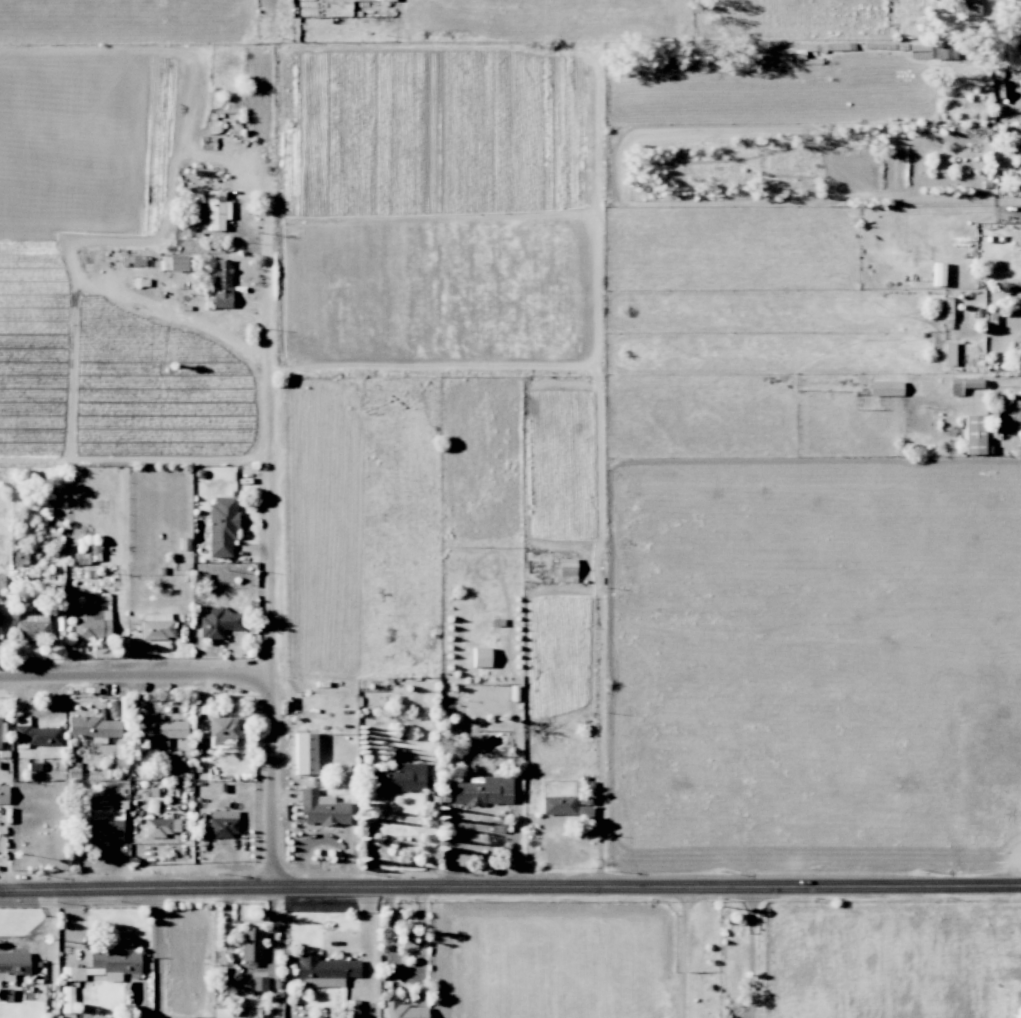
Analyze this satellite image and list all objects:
building: (966, 7)
road: (993, 44)
building: (1020, 70)
building: (214, 208)
building: (177, 263)
building: (937, 274)
building: (221, 284)
building: (962, 385)
building: (884, 388)
building: (1019, 415)
building: (973, 434)
building: (222, 525)
road: (267, 552)
building: (566, 569)
building: (1, 582)
building: (218, 623)
building: (91, 624)
building: (156, 626)
building: (33, 628)
building: (480, 657)
road: (134, 677)
building: (92, 727)
building: (2, 730)
building: (159, 730)
building: (223, 730)
building: (34, 734)
building: (304, 753)
building: (397, 779)
building: (483, 790)
building: (3, 795)
building: (558, 805)
building: (322, 809)
road: (399, 818)
building: (223, 823)
building: (102, 824)
building: (159, 827)
road: (510, 886)
road: (40, 929)
building: (250, 947)
road: (752, 951)
road: (683, 952)
road: (368, 953)
building: (13, 963)
building: (111, 965)
building: (325, 971)
building: (258, 983)
building: (401, 1010)
building: (221, 1013)

